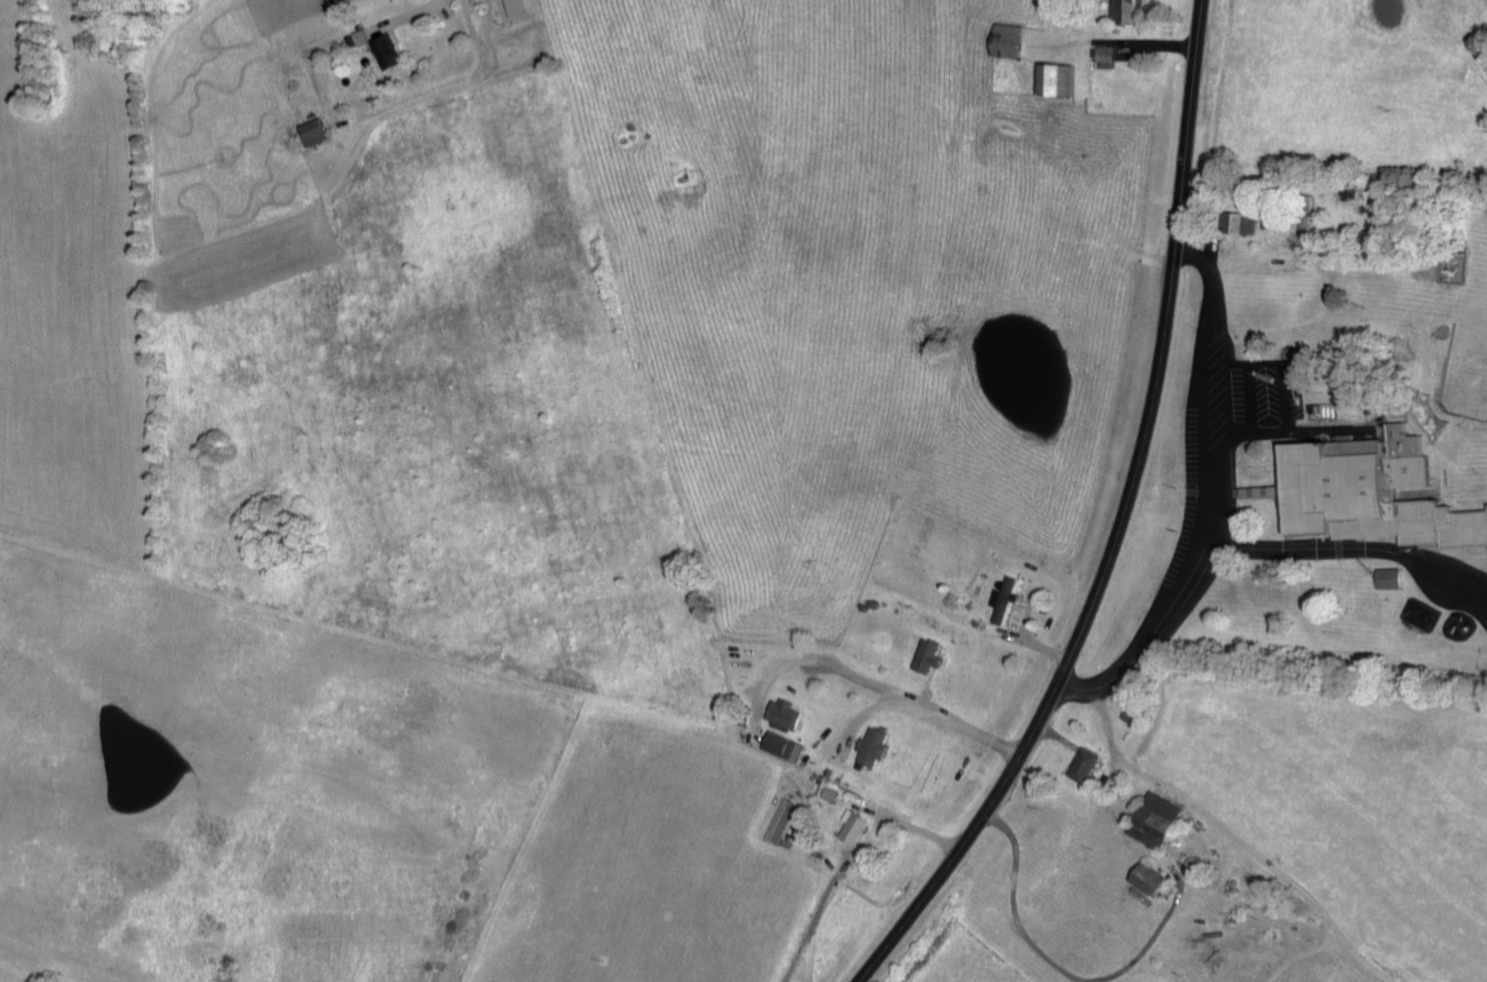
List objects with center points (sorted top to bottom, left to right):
building: (1133, 10)
road: (418, 13)
building: (369, 35)
building: (1016, 39)
building: (394, 51)
building: (1109, 56)
building: (1066, 78)
building: (319, 131)
building: (1247, 222)
road: (1226, 505)
road: (1119, 523)
building: (1395, 577)
building: (1007, 600)
building: (932, 656)
building: (788, 714)
building: (1141, 717)
building: (785, 744)
building: (877, 748)
building: (1090, 764)
building: (833, 794)
building: (1167, 821)
road: (914, 824)
building: (859, 826)
building: (1158, 879)

